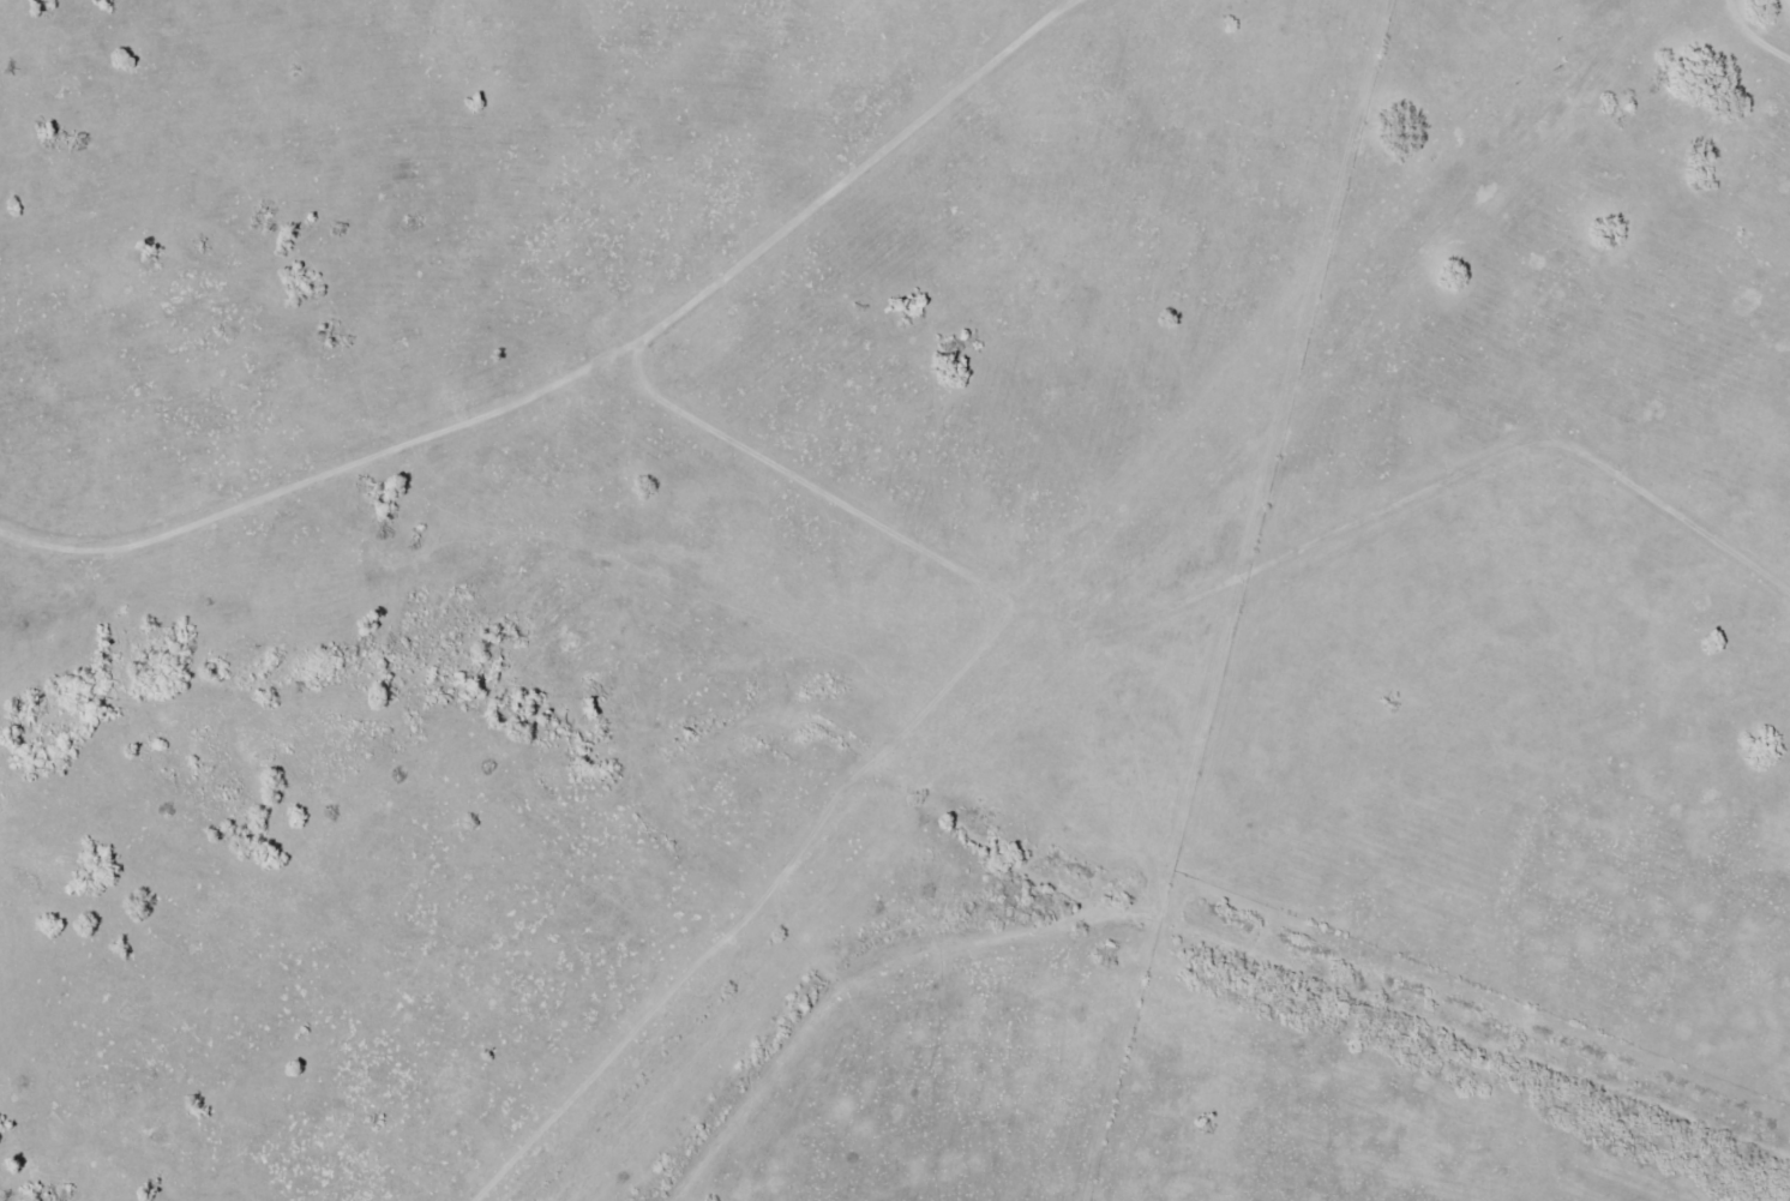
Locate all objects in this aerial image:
road: (1778, 7)
road: (809, 186)
road: (905, 546)
road: (1376, 1093)

